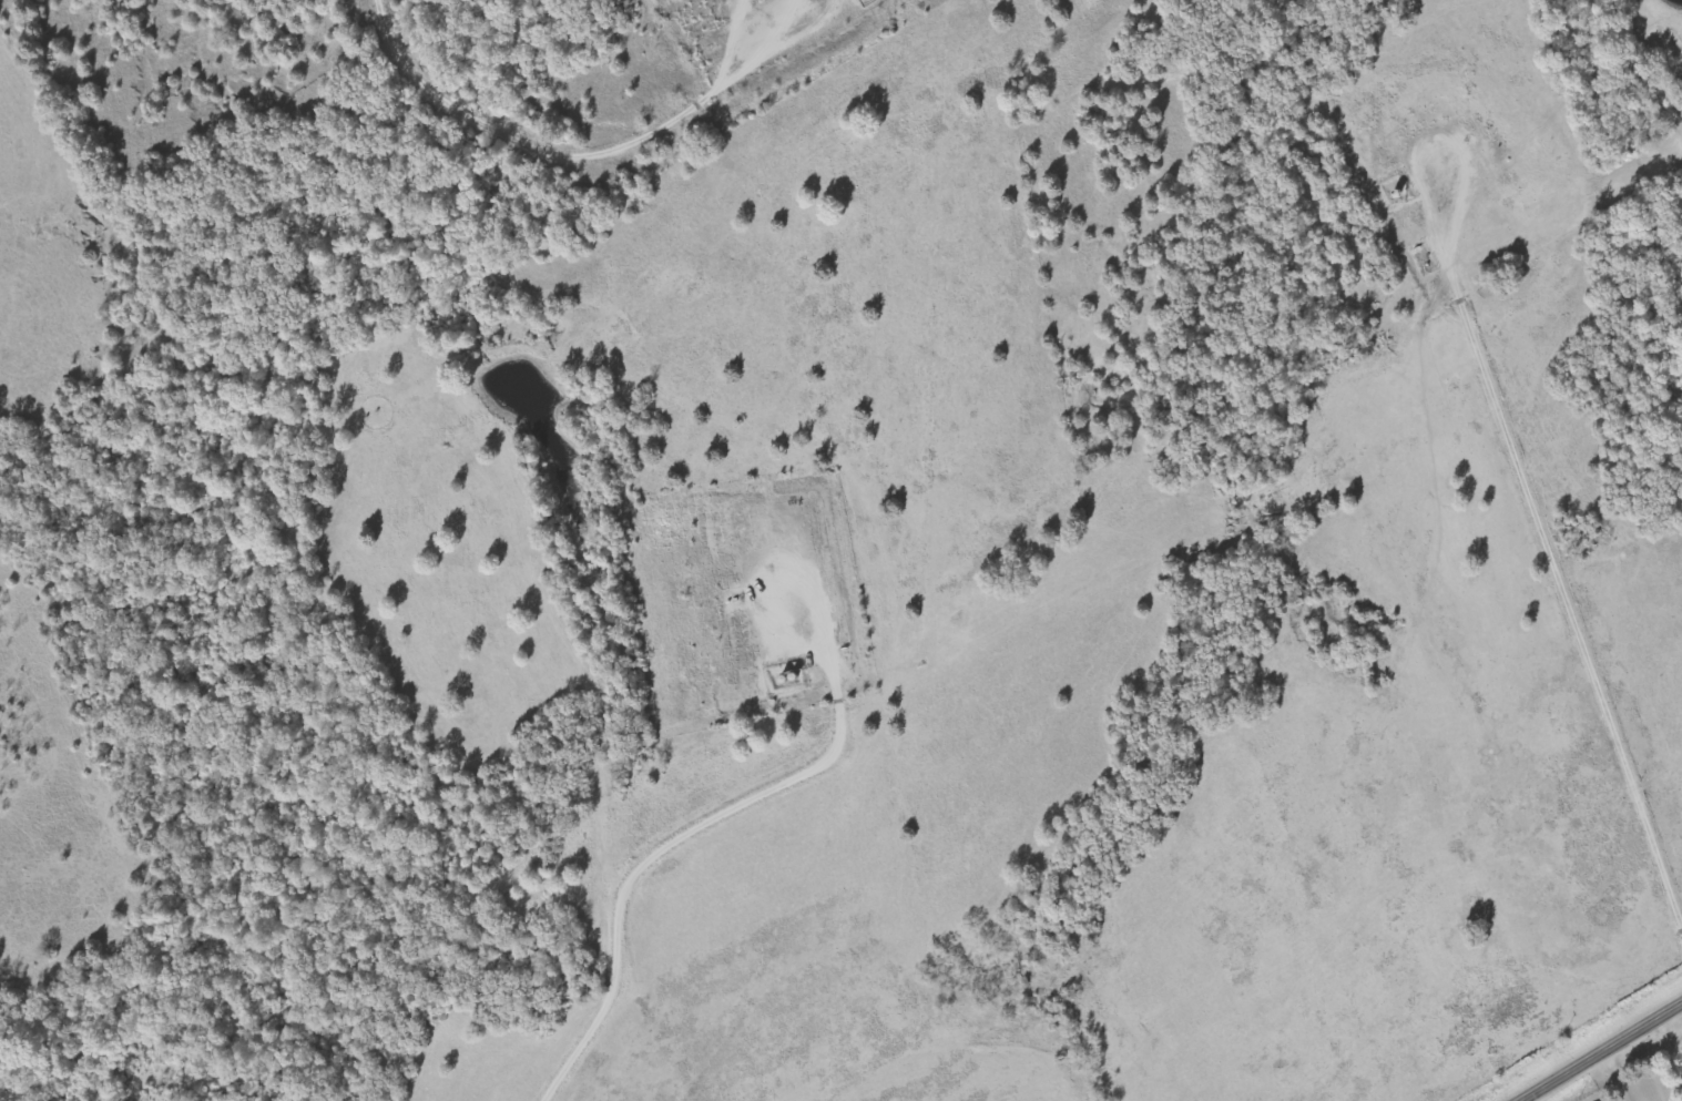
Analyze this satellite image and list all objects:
road: (1599, 1051)

